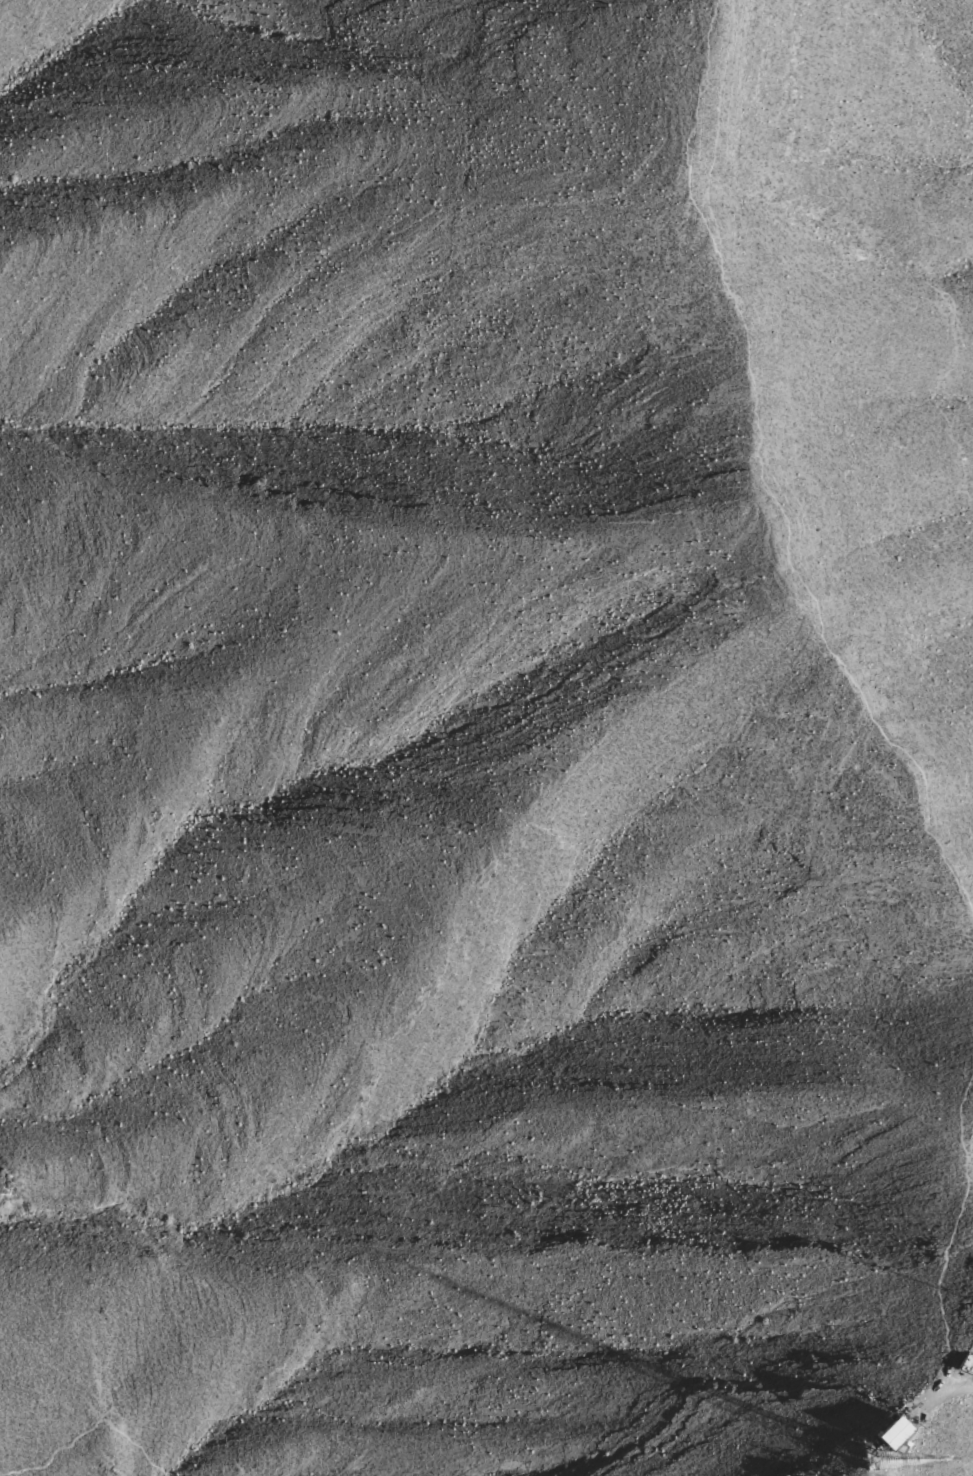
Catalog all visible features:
road: (928, 1380)
road: (91, 1429)
building: (875, 1433)

